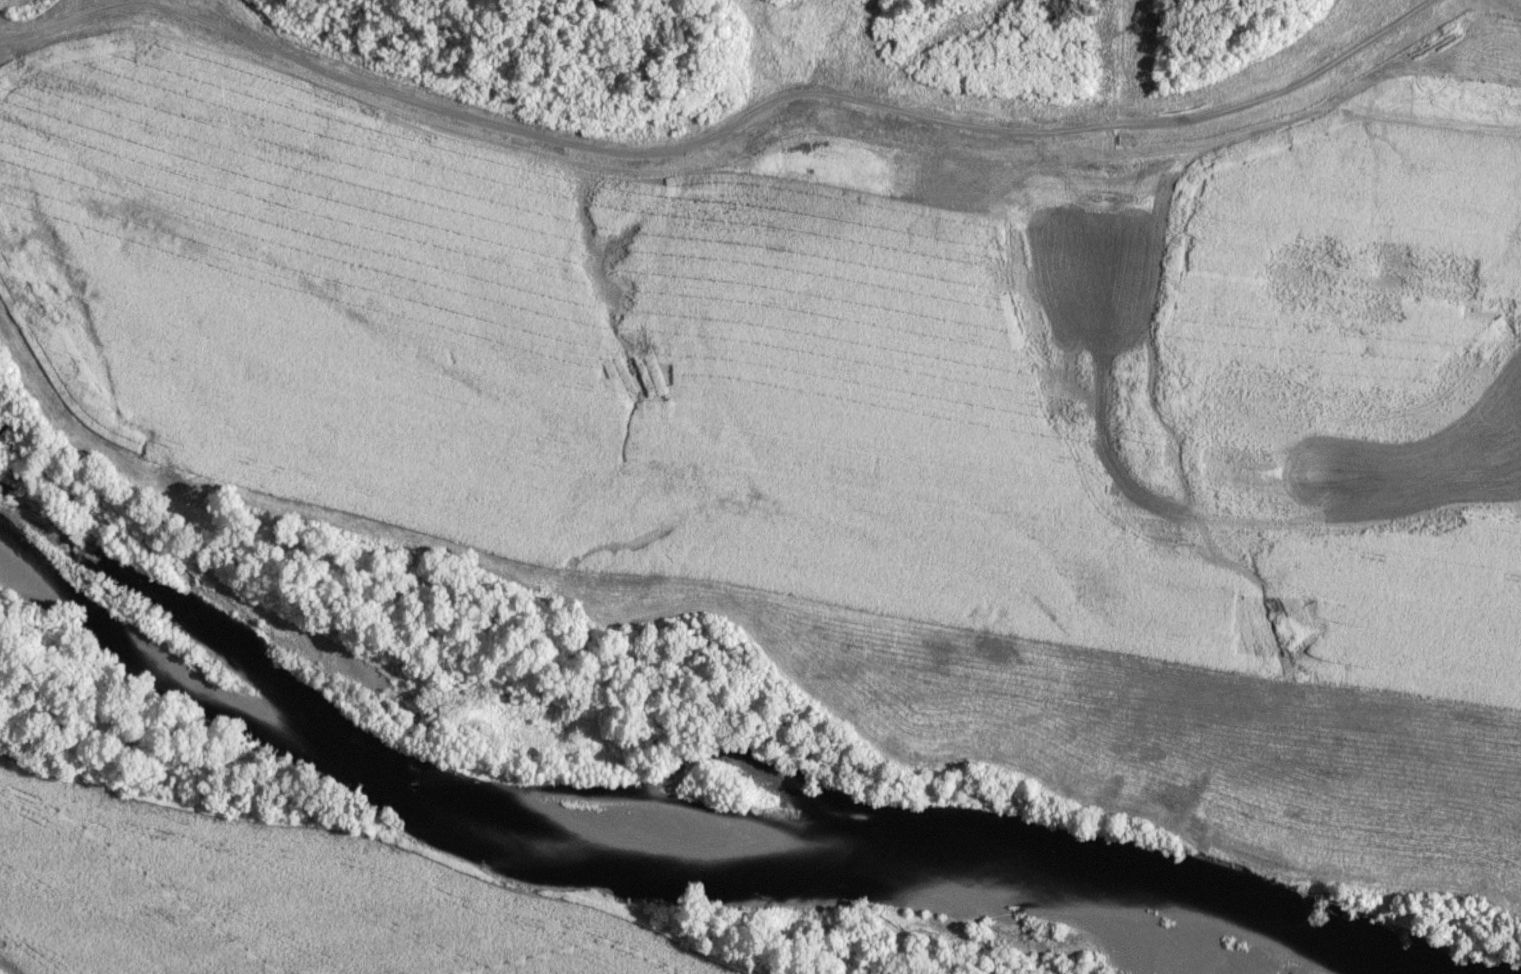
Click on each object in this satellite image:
road: (68, 21)
road: (795, 91)
river: (646, 819)

